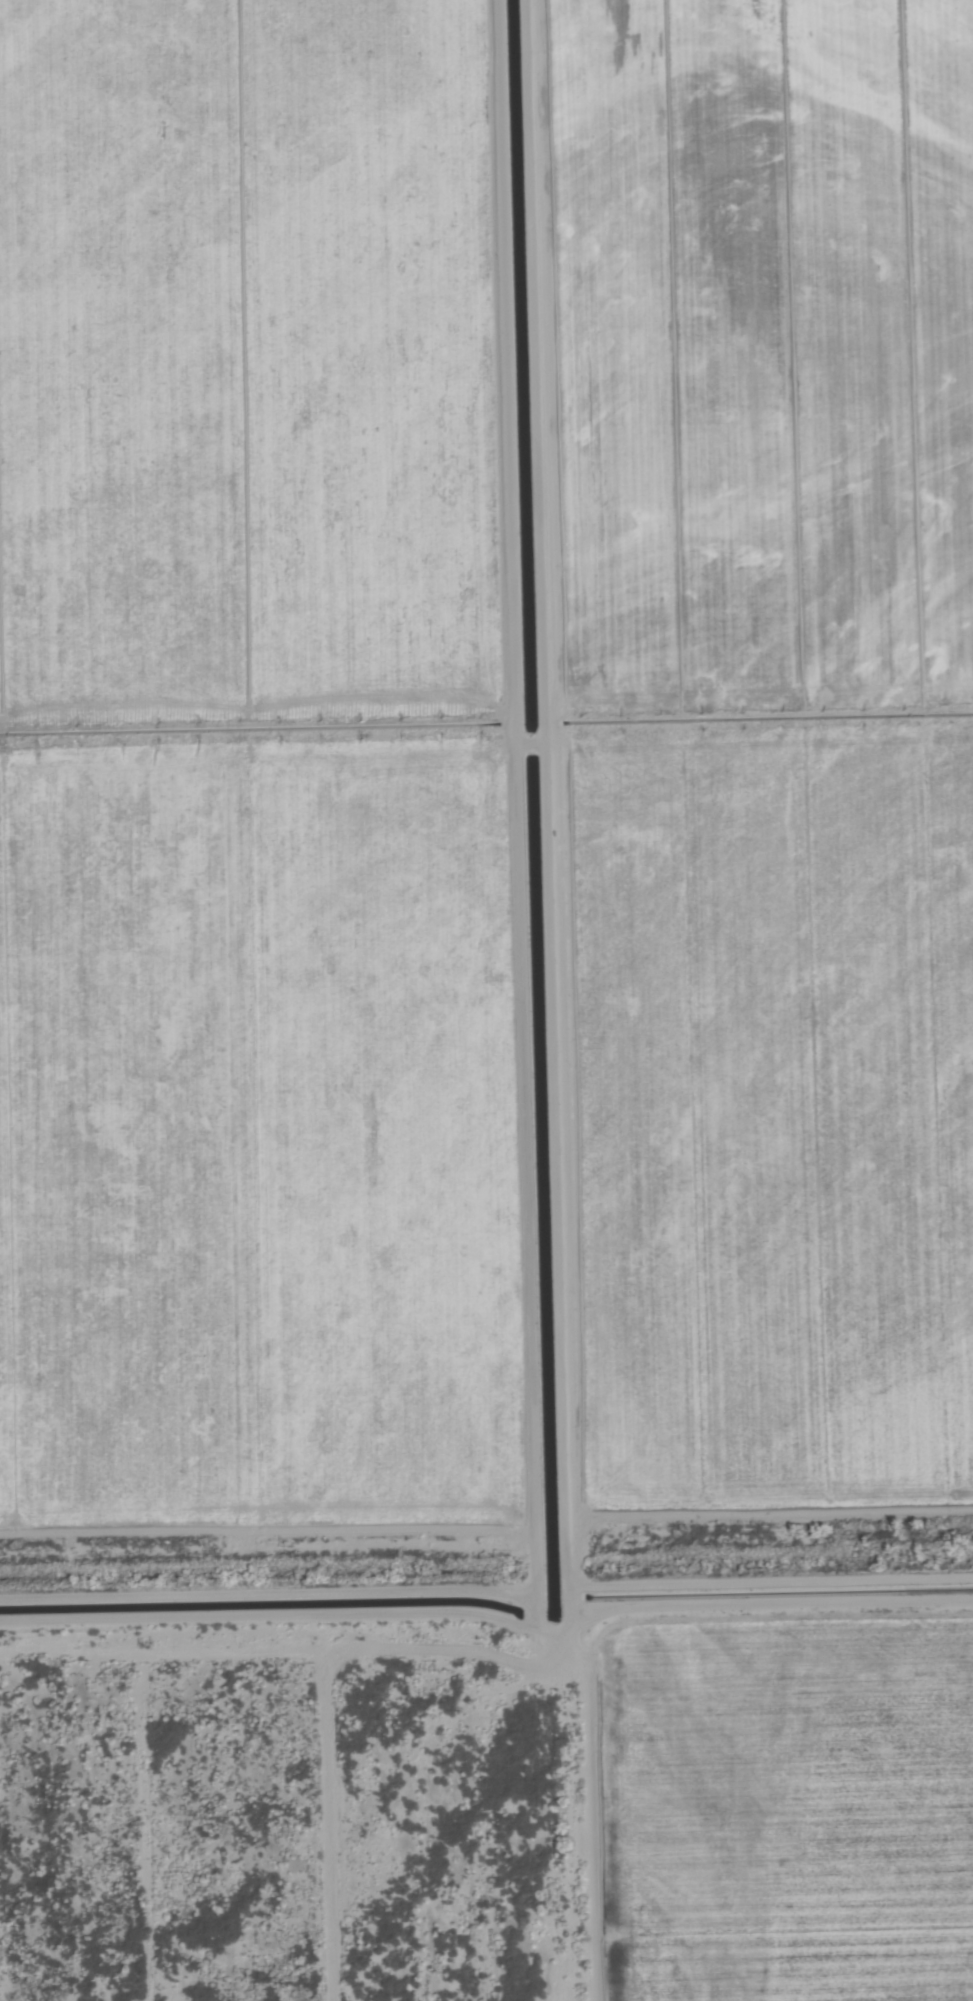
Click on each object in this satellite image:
crop: (782, 1124)

